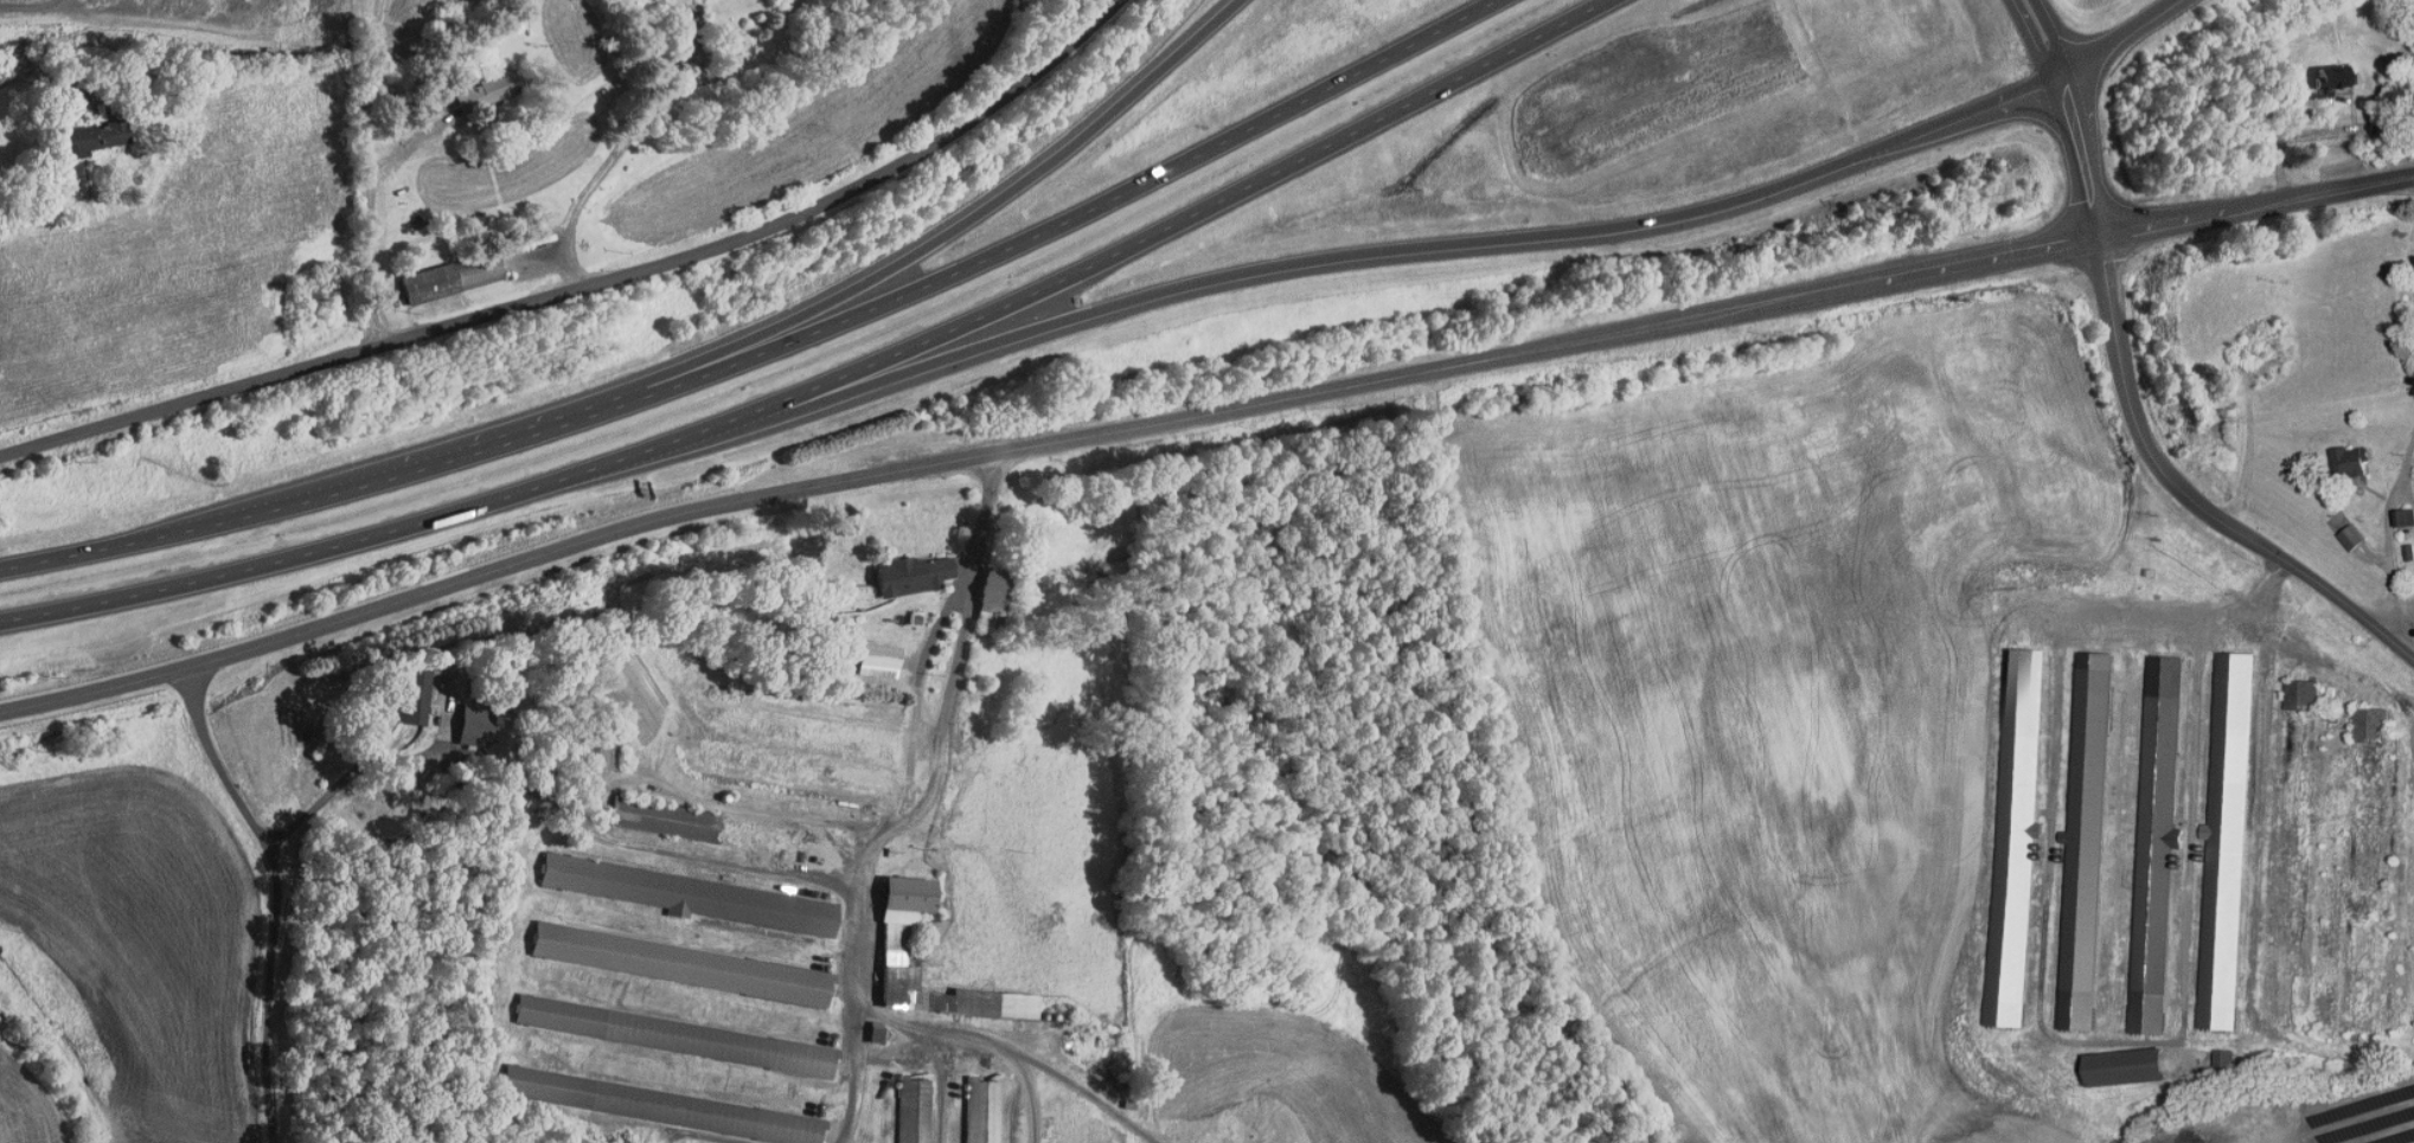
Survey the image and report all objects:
road: (27, 5)
building: (2320, 71)
building: (475, 83)
road: (2069, 115)
building: (81, 130)
road: (620, 148)
road: (370, 172)
road: (2258, 210)
road: (973, 220)
road: (1596, 231)
building: (440, 271)
road: (589, 288)
road: (774, 349)
road: (850, 402)
road: (1039, 431)
building: (2338, 454)
road: (2393, 486)
road: (2189, 497)
building: (2394, 511)
road: (984, 520)
building: (901, 567)
building: (978, 591)
building: (866, 653)
building: (2290, 687)
building: (403, 693)
building: (465, 718)
building: (2357, 718)
building: (591, 749)
road: (549, 802)
building: (652, 813)
road: (903, 816)
building: (2004, 827)
building: (2144, 835)
building: (2073, 837)
building: (2214, 837)
building: (684, 888)
road: (278, 894)
building: (883, 931)
road: (858, 936)
building: (668, 957)
building: (863, 1023)
building: (664, 1028)
building: (2211, 1052)
building: (2115, 1060)
building: (972, 1092)
building: (649, 1098)

